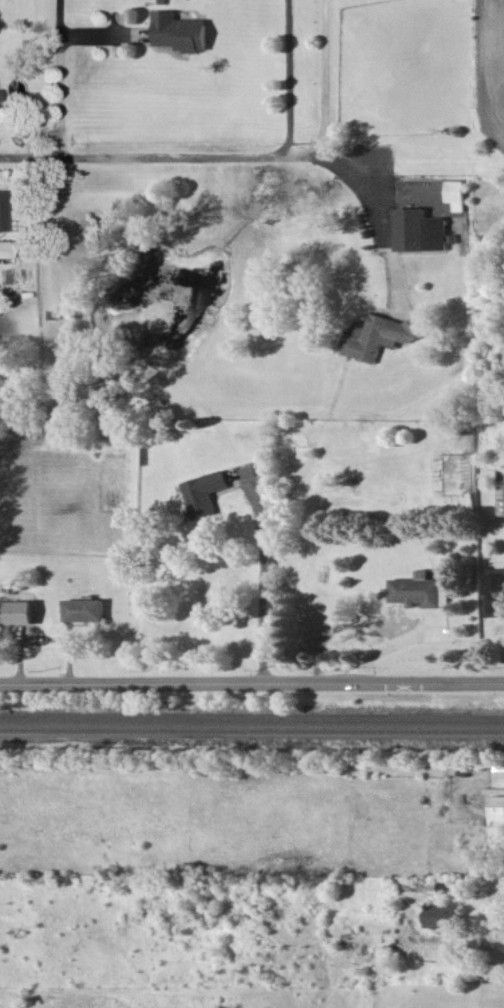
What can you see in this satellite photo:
building: (184, 35)
road: (58, 76)
road: (323, 78)
road: (290, 80)
road: (179, 156)
building: (459, 196)
building: (1, 202)
building: (423, 232)
road: (377, 233)
building: (8, 251)
building: (379, 340)
building: (207, 495)
road: (263, 580)
building: (499, 588)
building: (90, 612)
building: (22, 615)
road: (396, 645)
road: (251, 681)
railway: (252, 717)
railway: (252, 726)
building: (498, 812)
building: (449, 919)

